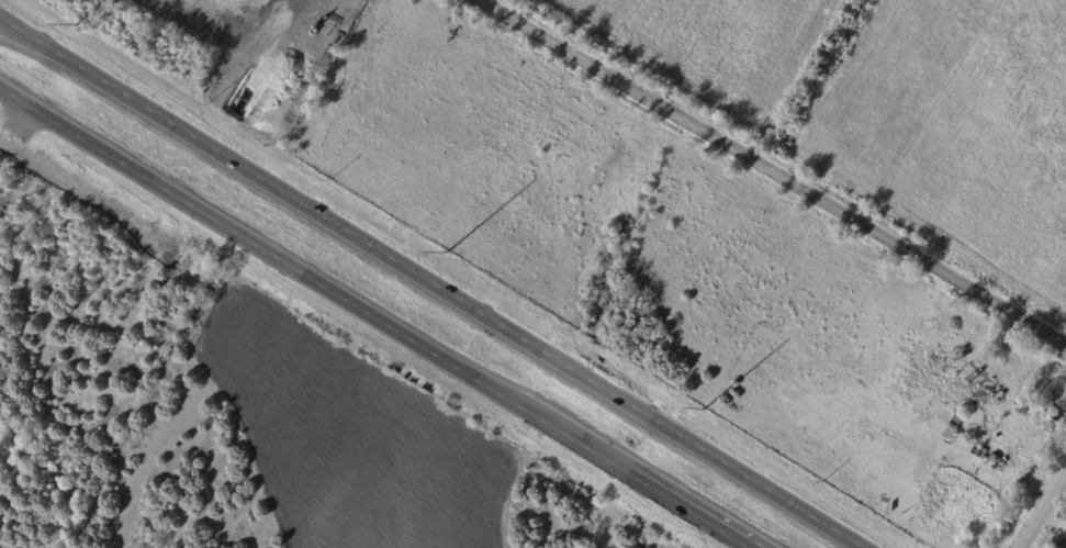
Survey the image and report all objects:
road: (1, 19)
road: (775, 172)
road: (268, 253)
road: (433, 282)
building: (960, 355)
building: (976, 376)
building: (1042, 385)
building: (997, 402)
building: (1034, 409)
building: (1055, 423)
building: (970, 447)
building: (999, 462)
building: (1030, 479)
road: (642, 483)
road: (1043, 511)
road: (1053, 522)
building: (1058, 546)

